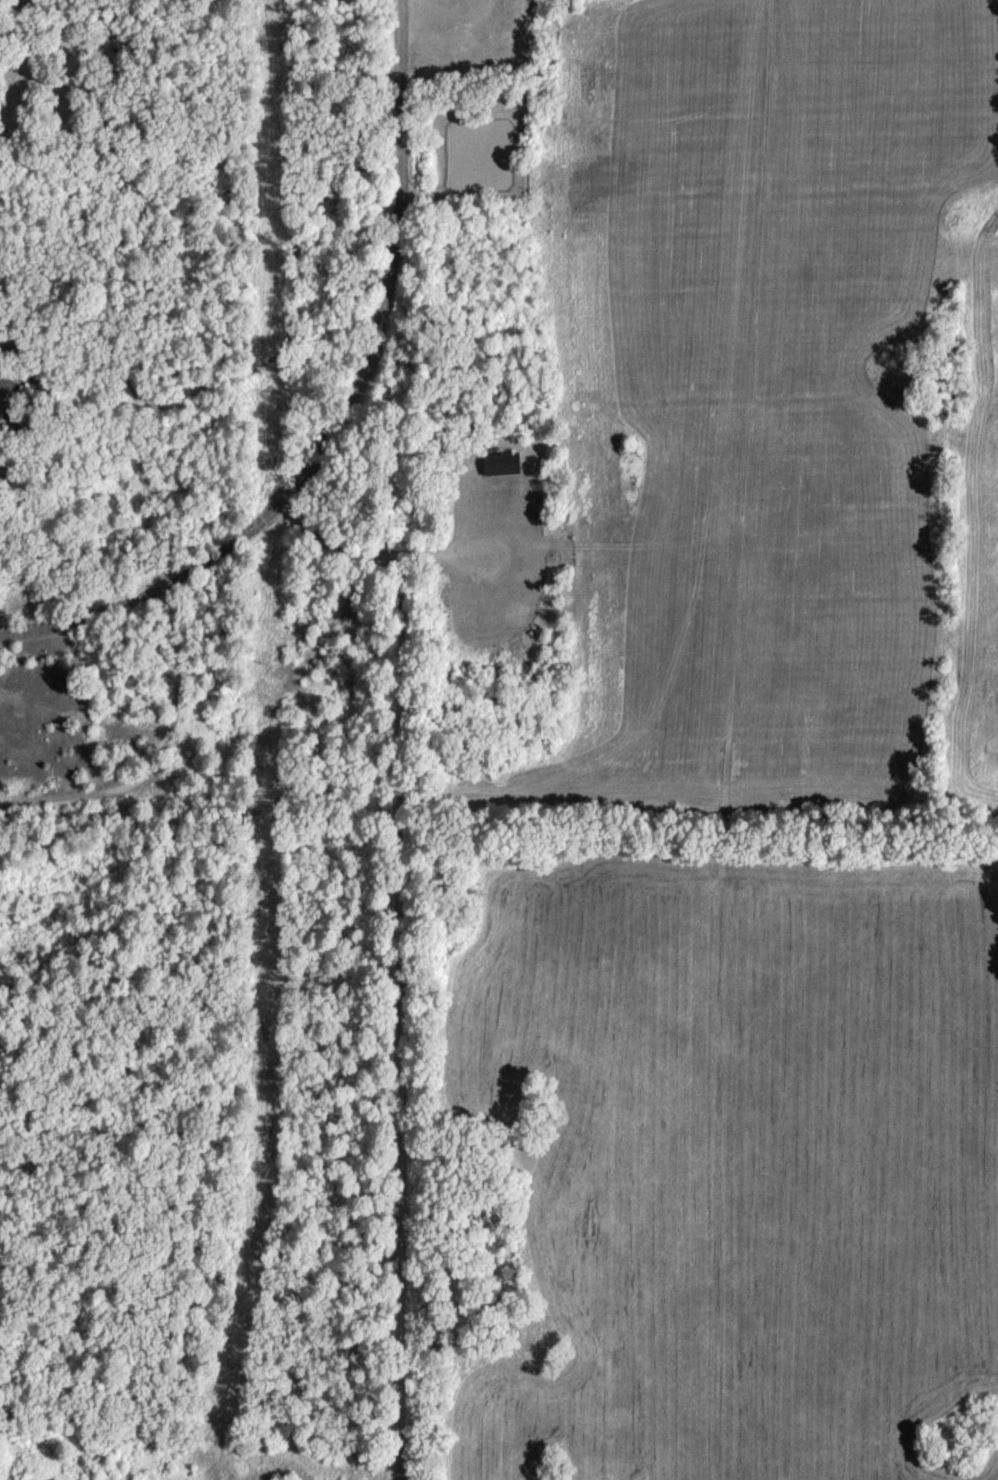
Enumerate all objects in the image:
road: (78, 74)
road: (349, 419)
building: (497, 467)
park: (219, 738)

